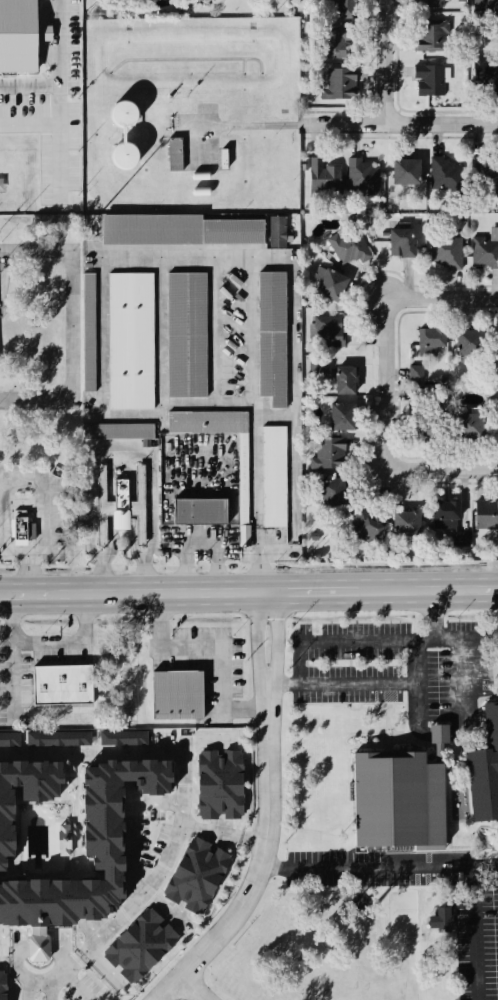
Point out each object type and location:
building: (430, 4)
building: (485, 6)
building: (345, 9)
building: (21, 36)
building: (431, 38)
building: (338, 42)
road: (384, 64)
road: (56, 69)
building: (485, 71)
building: (430, 82)
building: (338, 86)
building: (124, 117)
road: (400, 127)
road: (247, 128)
building: (175, 156)
building: (124, 157)
building: (406, 174)
building: (323, 177)
building: (446, 179)
building: (486, 179)
building: (363, 180)
building: (179, 232)
building: (277, 234)
building: (403, 245)
building: (350, 250)
building: (485, 253)
building: (449, 254)
building: (331, 286)
road: (442, 300)
road: (250, 306)
road: (69, 329)
building: (330, 334)
building: (89, 335)
building: (186, 337)
building: (272, 340)
building: (432, 340)
building: (131, 343)
building: (469, 345)
building: (318, 365)
building: (416, 376)
building: (346, 383)
road: (387, 385)
building: (343, 419)
building: (470, 430)
building: (426, 432)
building: (122, 433)
road: (118, 446)
building: (329, 456)
road: (443, 471)
building: (274, 479)
road: (42, 480)
building: (243, 490)
building: (334, 495)
building: (107, 508)
building: (201, 514)
building: (446, 517)
building: (486, 518)
building: (407, 526)
building: (367, 528)
building: (23, 529)
building: (248, 537)
road: (202, 542)
road: (2, 548)
road: (428, 589)
road: (314, 591)
road: (134, 592)
road: (258, 637)
road: (278, 637)
road: (76, 643)
road: (215, 649)
road: (302, 654)
road: (16, 655)
road: (417, 660)
road: (465, 663)
road: (285, 684)
building: (62, 687)
building: (178, 697)
building: (127, 740)
building: (11, 741)
building: (61, 741)
road: (91, 752)
building: (226, 786)
building: (421, 789)
road: (183, 814)
road: (176, 838)
road: (252, 841)
building: (68, 842)
road: (135, 846)
road: (264, 858)
road: (380, 866)
building: (119, 870)
building: (202, 879)
building: (445, 922)
road: (478, 933)
building: (146, 949)
road: (4, 963)
road: (59, 968)
road: (32, 975)
building: (5, 986)
road: (192, 988)

